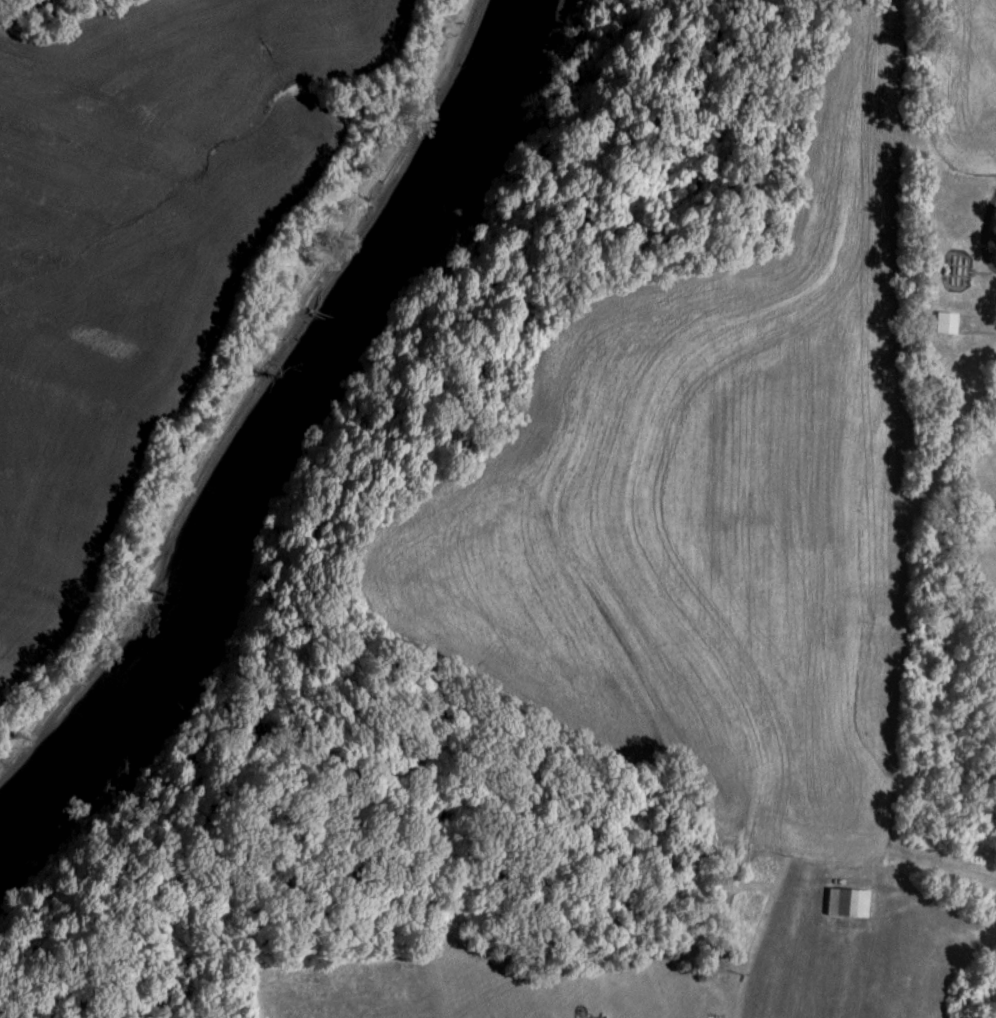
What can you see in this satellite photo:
road: (979, 230)
building: (947, 325)
road: (947, 512)
building: (850, 904)

